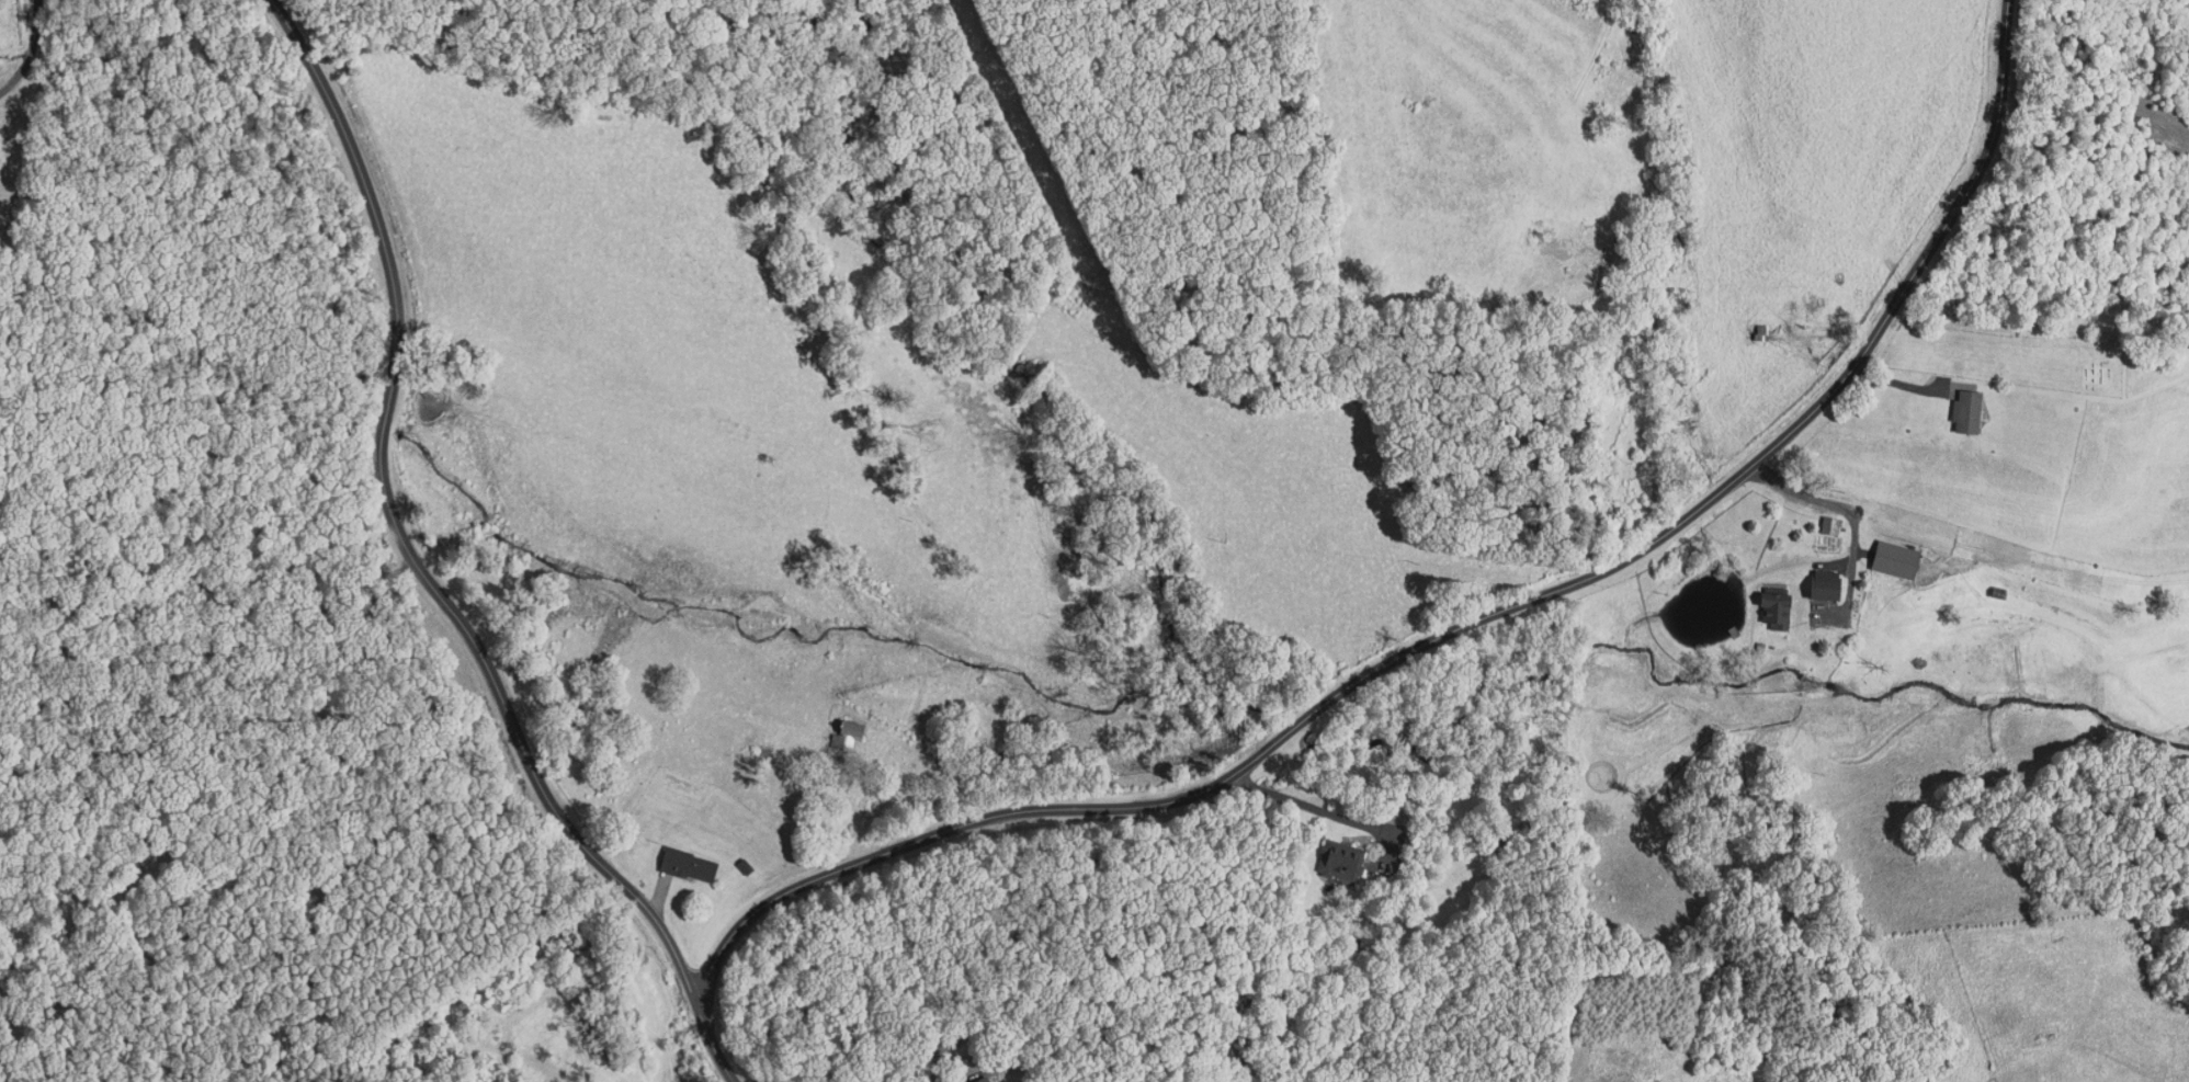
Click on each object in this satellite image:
building: (1969, 412)
building: (1829, 526)
building: (1896, 560)
road: (423, 568)
building: (1825, 589)
building: (1774, 610)
road: (1456, 627)
building: (847, 734)
building: (1341, 861)
building: (745, 863)
building: (689, 864)
building: (983, 1079)

